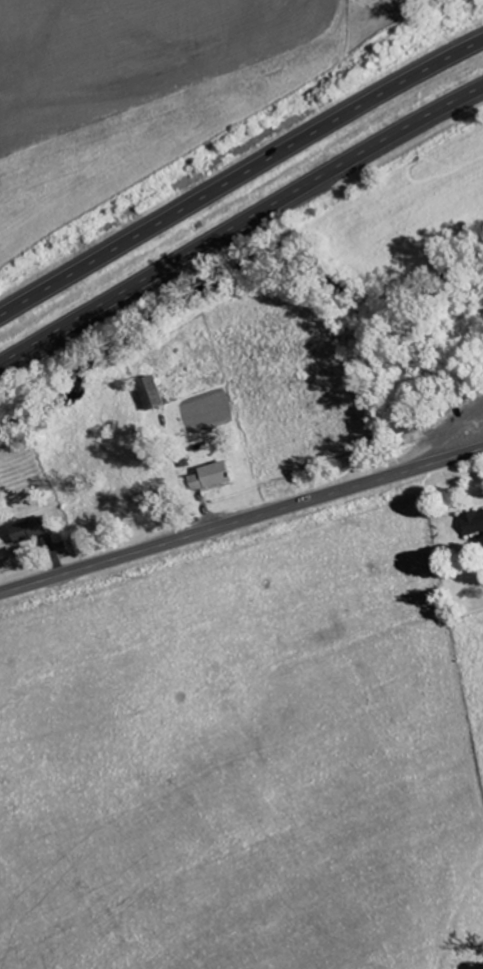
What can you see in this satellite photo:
road: (240, 177)
road: (240, 223)
road: (241, 520)
road: (21, 928)

